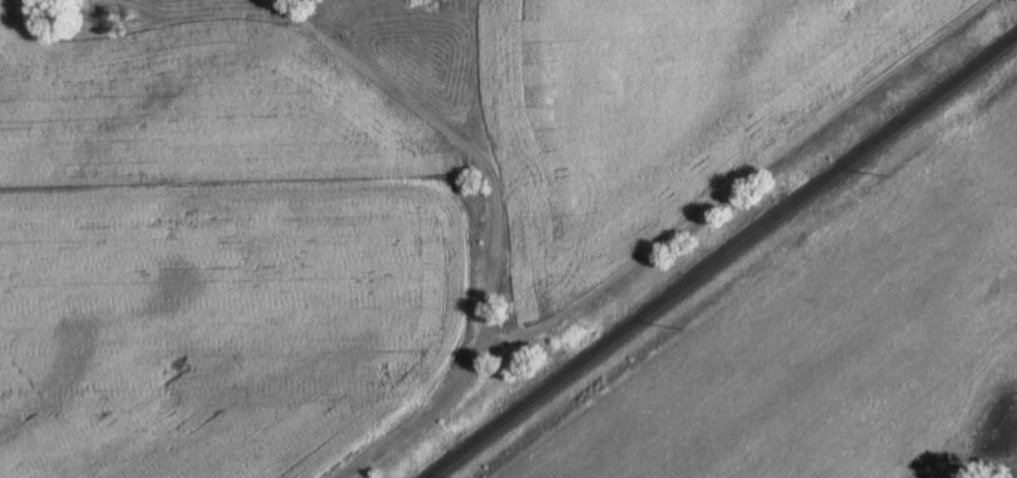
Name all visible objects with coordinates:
road: (492, 219)
railway: (721, 255)

